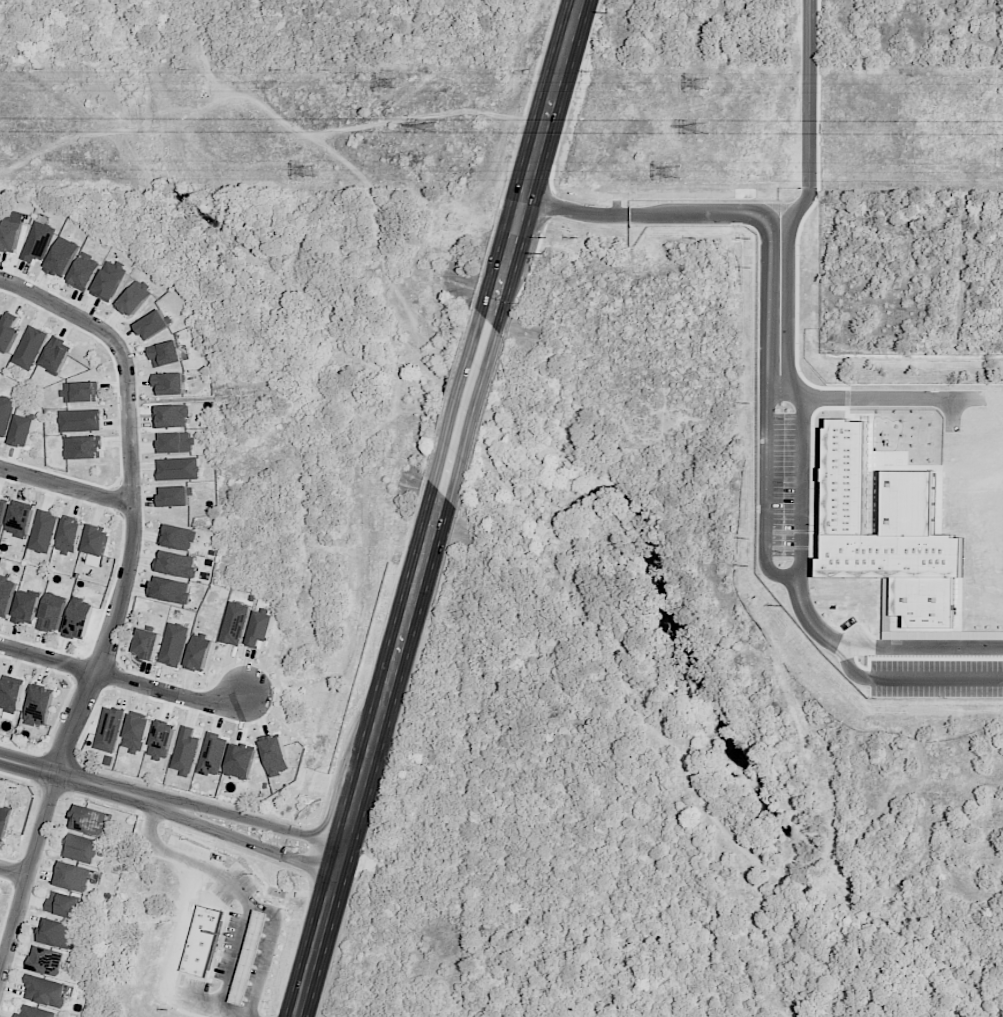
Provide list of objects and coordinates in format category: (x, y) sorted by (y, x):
power tower: (392, 83)
power tower: (701, 84)
power tower: (433, 128)
power tower: (701, 128)
road: (536, 161)
power tower: (310, 170)
power tower: (673, 172)
road: (654, 215)
building: (9, 238)
building: (38, 241)
building: (62, 257)
building: (84, 272)
building: (109, 280)
road: (779, 297)
building: (135, 298)
building: (152, 325)
building: (9, 330)
building: (30, 347)
building: (165, 353)
building: (55, 355)
building: (169, 384)
building: (80, 391)
road: (882, 400)
road: (467, 409)
building: (5, 414)
building: (171, 416)
building: (81, 420)
building: (23, 431)
building: (176, 442)
building: (83, 447)
building: (178, 468)
road: (66, 487)
road: (132, 496)
building: (174, 496)
building: (3, 510)
road: (802, 516)
building: (20, 519)
building: (43, 531)
building: (69, 536)
building: (177, 537)
building: (96, 540)
building: (176, 564)
building: (170, 589)
building: (7, 595)
building: (925, 601)
building: (26, 608)
building: (52, 612)
building: (78, 618)
building: (235, 623)
building: (260, 628)
building: (147, 644)
building: (174, 644)
road: (924, 646)
building: (199, 652)
road: (915, 678)
road: (124, 679)
building: (11, 693)
building: (39, 706)
building: (110, 729)
building: (137, 733)
building: (162, 740)
building: (186, 751)
building: (275, 754)
building: (212, 755)
road: (369, 756)
building: (240, 761)
road: (83, 782)
building: (4, 819)
building: (89, 820)
road: (256, 821)
road: (249, 844)
building: (81, 848)
road: (12, 868)
road: (25, 871)
building: (72, 876)
road: (241, 892)
building: (61, 903)
building: (56, 933)
building: (202, 940)
road: (265, 950)
building: (252, 952)
gas station: (250, 955)
building: (45, 960)
building: (44, 991)
building: (35, 1012)

